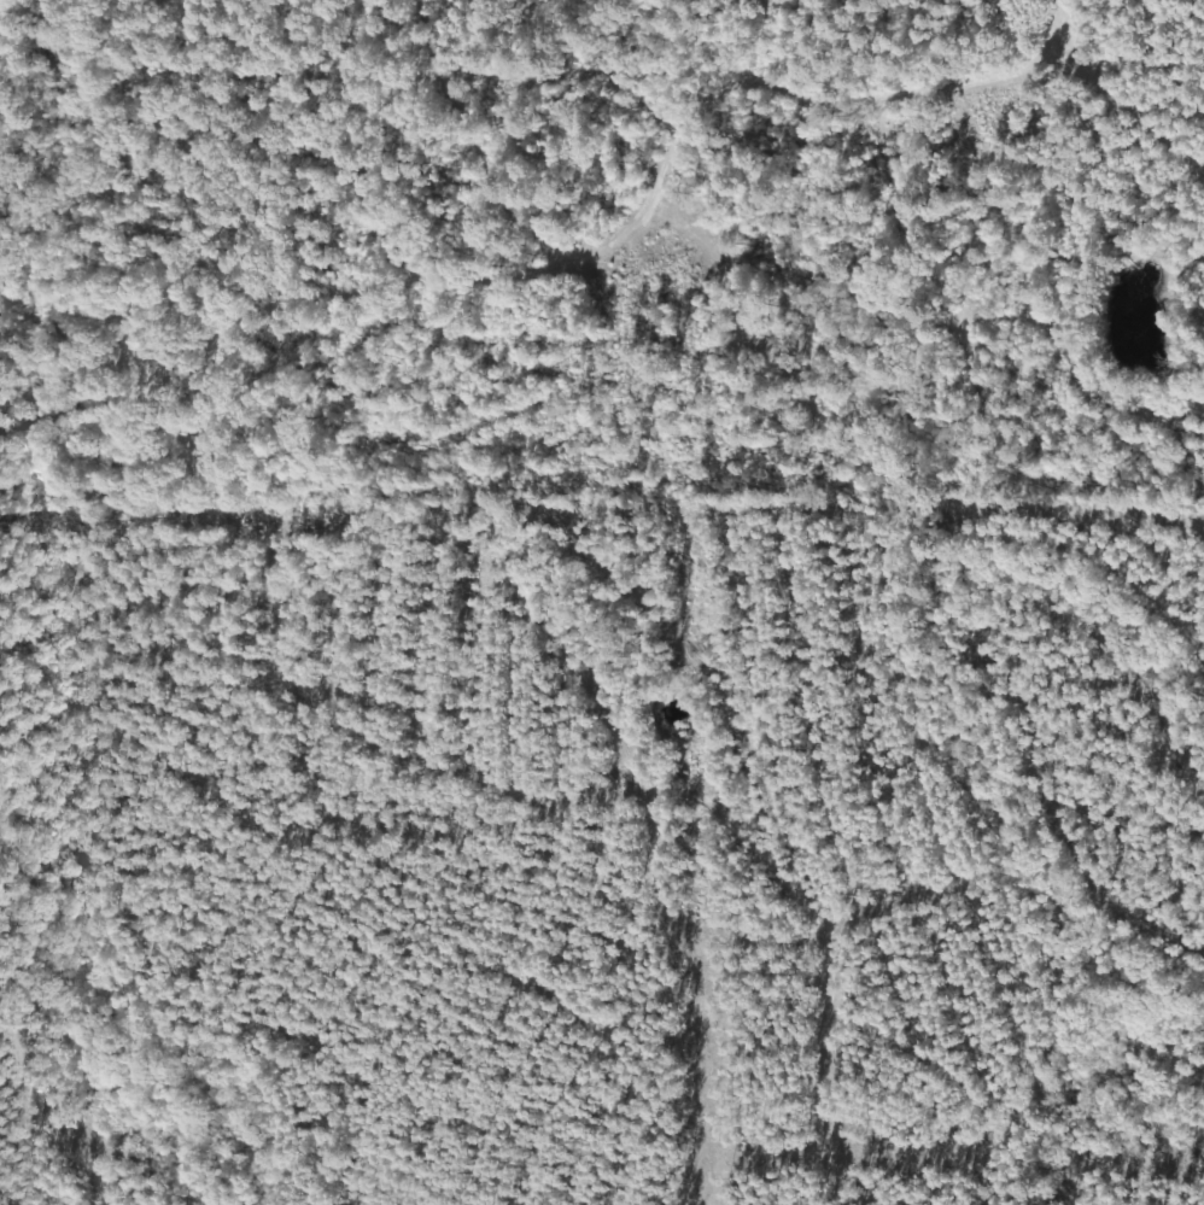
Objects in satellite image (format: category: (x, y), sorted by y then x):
road: (1162, 913)

